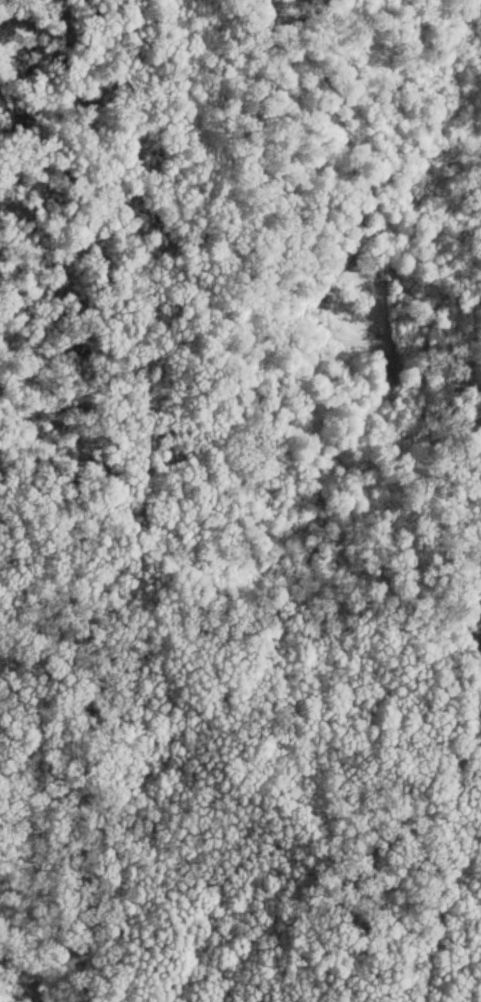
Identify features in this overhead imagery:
road: (240, 600)

